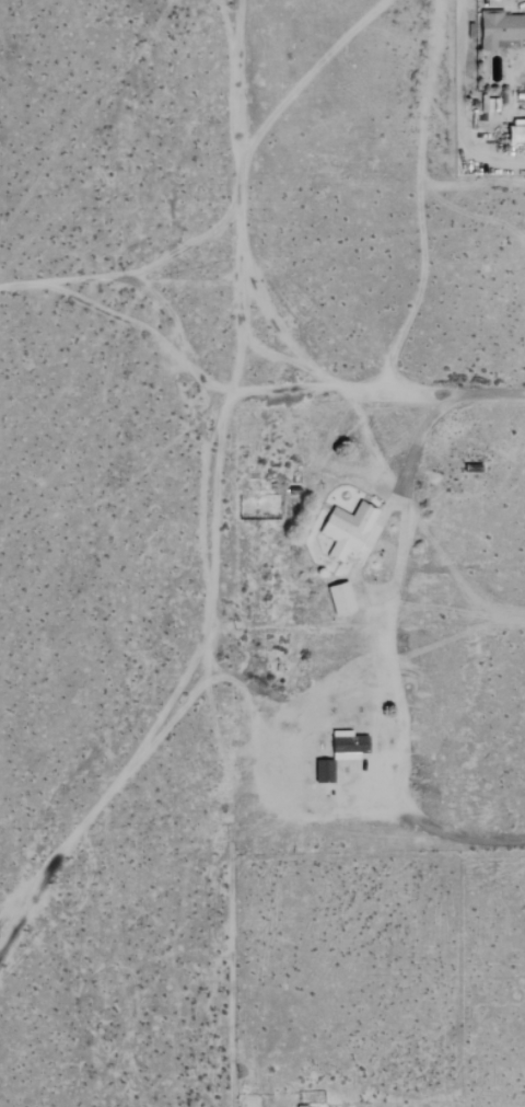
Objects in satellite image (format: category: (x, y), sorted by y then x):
building: (499, 31)
building: (513, 134)
road: (241, 185)
road: (489, 392)
road: (343, 393)
road: (415, 441)
building: (349, 529)
building: (343, 599)
building: (349, 746)
building: (325, 772)
road: (440, 829)

